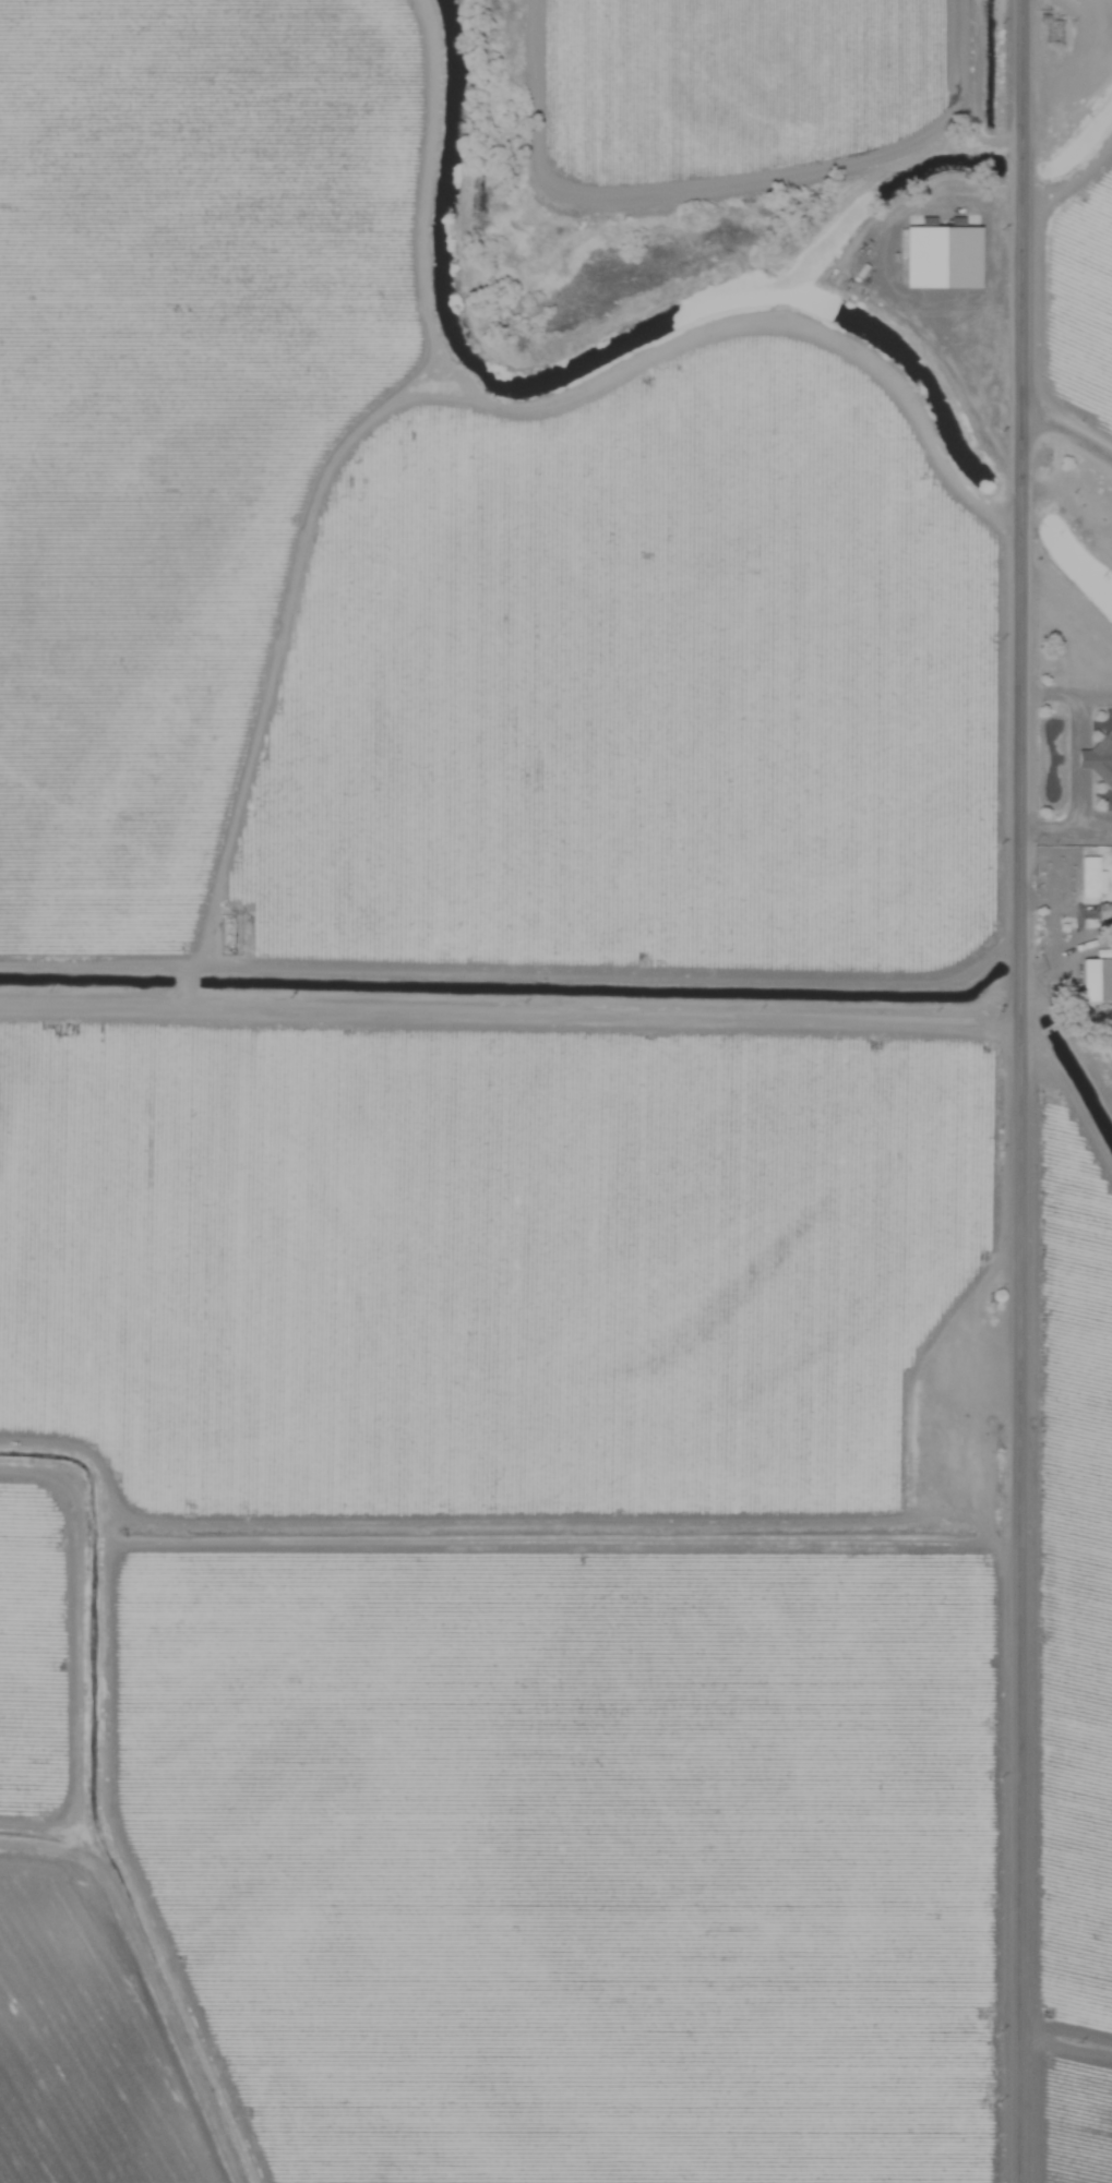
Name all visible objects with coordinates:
road: (1068, 191)
road: (1065, 435)
road: (266, 661)
building: (1101, 760)
road: (1072, 763)
building: (1092, 878)
building: (1105, 912)
building: (1093, 981)
road: (506, 1022)
road: (1065, 1024)
crop: (555, 1091)
road: (1015, 1091)
building: (943, 1439)

